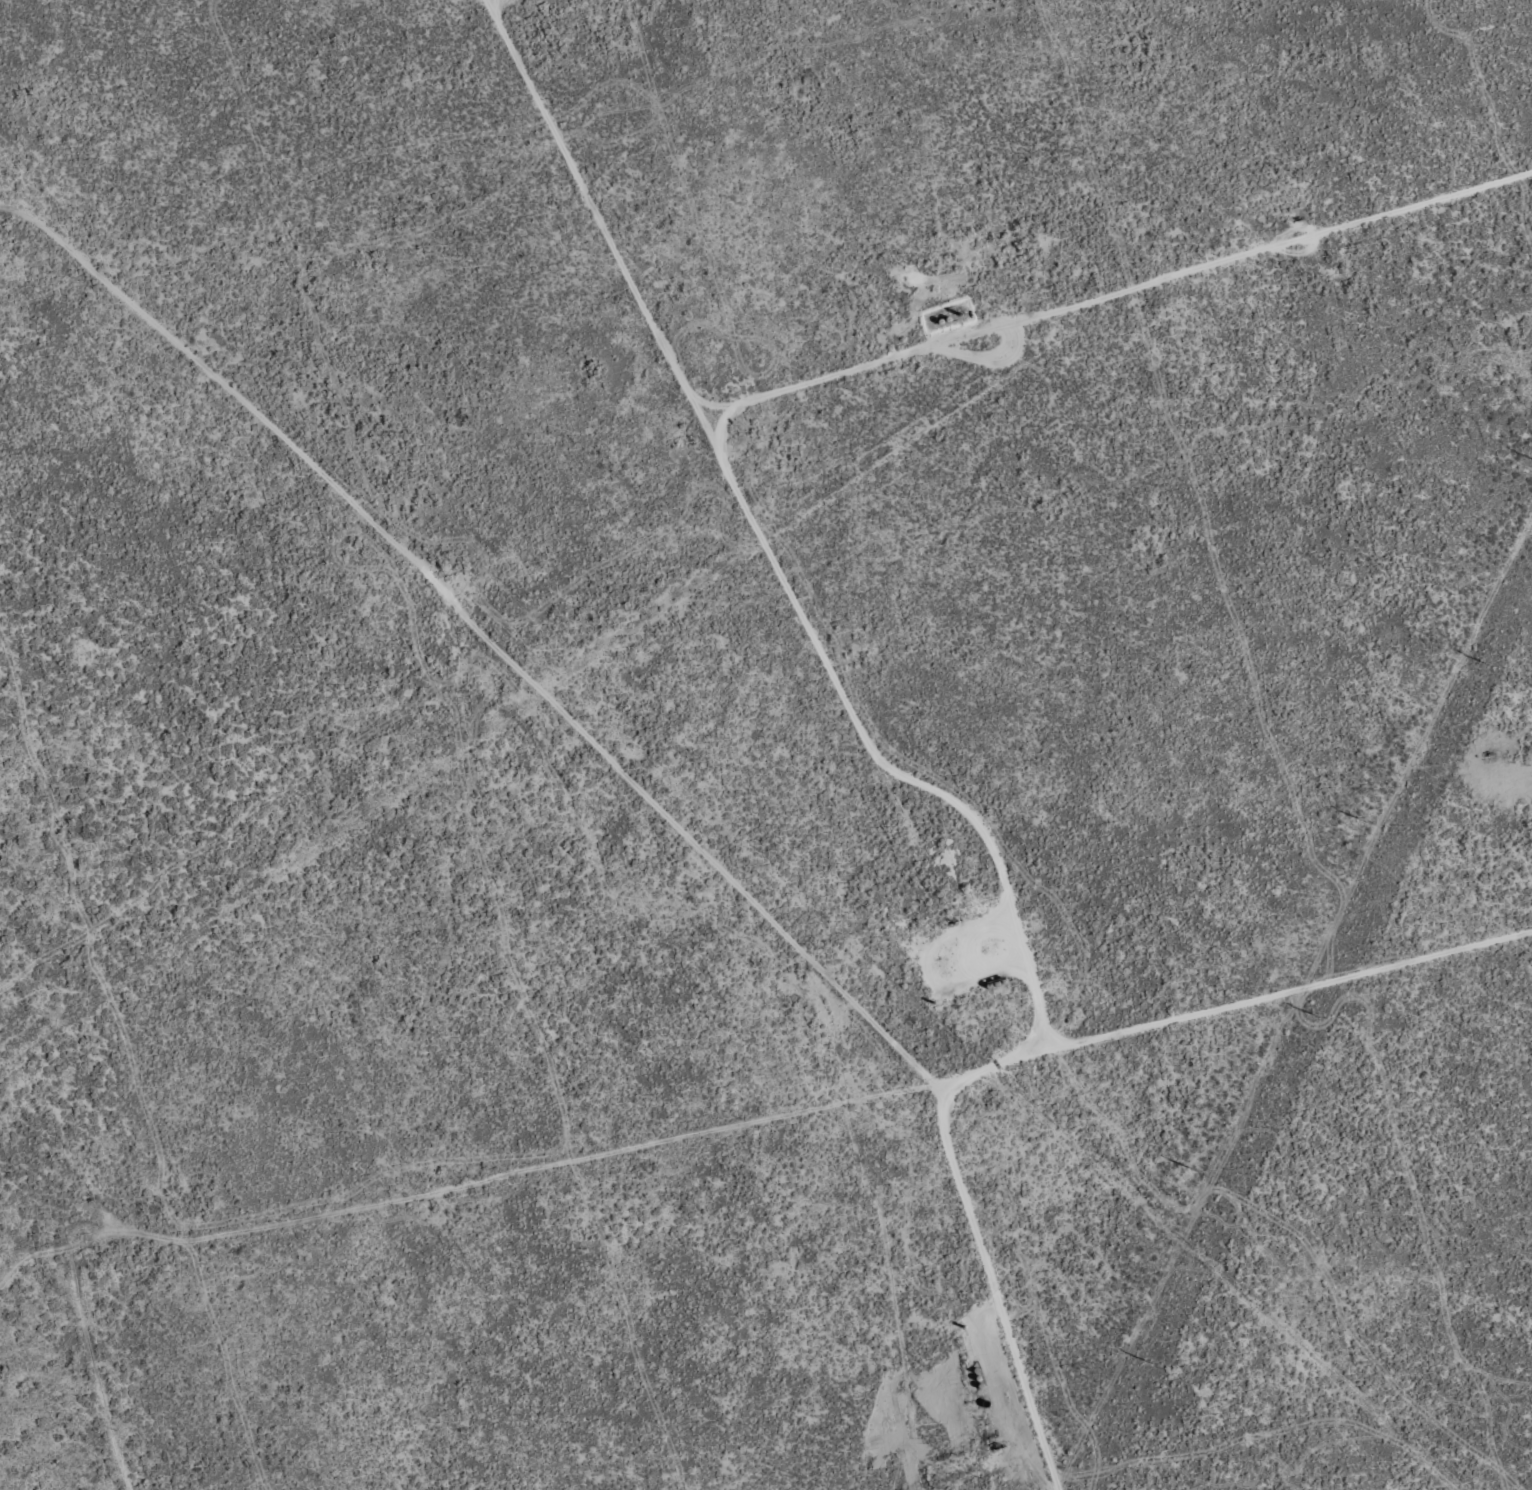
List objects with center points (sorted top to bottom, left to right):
road: (135, 309)
road: (900, 372)
power tower: (1487, 664)
road: (878, 741)
power tower: (1360, 819)
road: (759, 900)
power tower: (1315, 1017)
road: (707, 1130)
power tower: (1192, 1171)
power tower: (1148, 1361)

